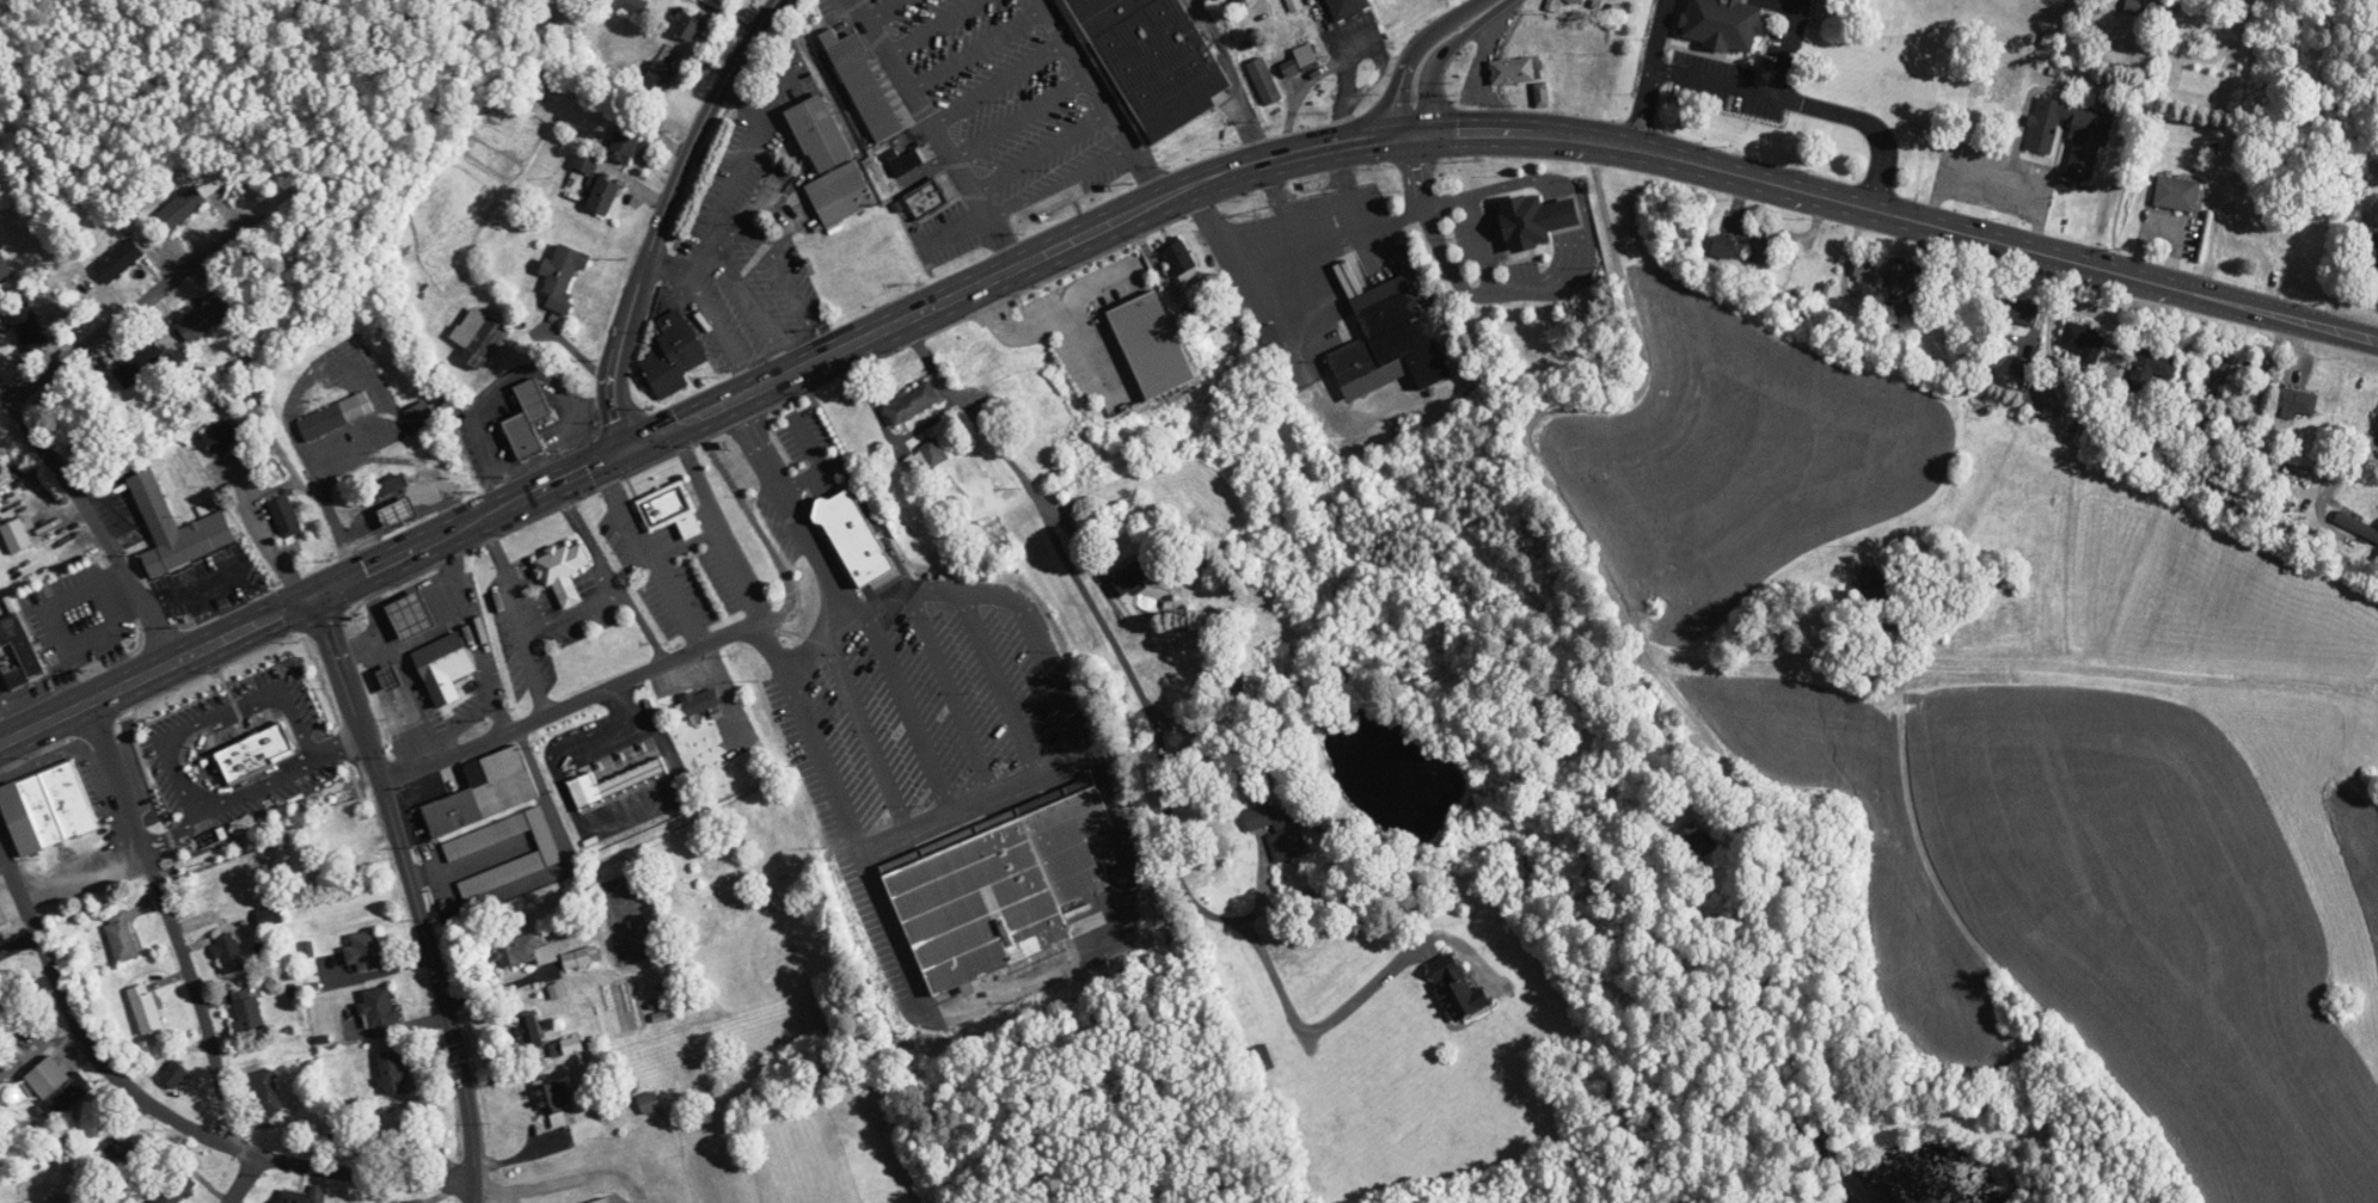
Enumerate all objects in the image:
building: (635, 7)
building: (1346, 8)
building: (1723, 24)
building: (687, 25)
road: (560, 27)
road: (1429, 49)
road: (976, 50)
building: (1306, 57)
building: (1148, 62)
building: (1515, 69)
road: (1085, 74)
building: (658, 76)
road: (1234, 79)
road: (1704, 79)
building: (864, 85)
road: (1645, 98)
road: (1824, 105)
road: (921, 115)
traffic signals: (1412, 130)
building: (820, 133)
building: (2071, 133)
building: (625, 143)
road: (746, 152)
road: (1300, 152)
building: (907, 162)
road: (1417, 167)
road: (1146, 172)
road: (1538, 179)
road: (1771, 182)
road: (1342, 186)
road: (1062, 189)
road: (1176, 190)
building: (2177, 192)
building: (840, 194)
building: (603, 195)
building: (923, 198)
road: (1283, 202)
building: (182, 207)
road: (666, 214)
road: (1563, 215)
building: (1538, 219)
road: (1089, 232)
road: (724, 234)
building: (2373, 244)
building: (1724, 245)
building: (1764, 245)
road: (1005, 248)
road: (1285, 248)
road: (1441, 250)
road: (700, 254)
building: (1181, 259)
road: (1568, 259)
building: (118, 260)
road: (669, 266)
building: (1867, 266)
building: (4, 270)
building: (563, 275)
building: (1898, 277)
road: (791, 282)
building: (1954, 287)
road: (152, 295)
road: (2251, 305)
road: (752, 306)
building: (2018, 311)
building: (203, 318)
building: (27, 327)
road: (721, 331)
building: (477, 336)
building: (1390, 338)
building: (2084, 342)
building: (1275, 344)
building: (672, 354)
building: (140, 364)
building: (2020, 366)
building: (2151, 368)
building: (986, 374)
building: (1048, 392)
building: (2037, 398)
building: (2297, 400)
building: (912, 403)
building: (335, 416)
building: (419, 416)
building: (527, 419)
building: (847, 422)
building: (2201, 429)
building: (220, 436)
traffic signals: (630, 447)
road: (1600, 459)
road: (2347, 468)
road: (698, 477)
road: (320, 492)
building: (396, 499)
road: (507, 503)
building: (672, 510)
road: (624, 511)
road: (252, 516)
building: (286, 516)
road: (93, 518)
road: (55, 521)
building: (176, 529)
building: (16, 535)
road: (725, 538)
building: (854, 538)
road: (821, 558)
building: (564, 571)
building: (2002, 575)
building: (1130, 576)
road: (85, 587)
building: (1875, 589)
traffic signals: (315, 590)
road: (676, 602)
road: (569, 614)
building: (412, 615)
road: (644, 624)
road: (381, 625)
road: (473, 630)
building: (20, 649)
building: (445, 667)
road: (1127, 671)
road: (534, 673)
building: (398, 698)
road: (570, 700)
building: (701, 701)
building: (1574, 713)
road: (7, 716)
road: (451, 728)
road: (170, 745)
road: (339, 748)
road: (1048, 768)
building: (614, 782)
building: (326, 787)
building: (485, 792)
building: (47, 809)
road: (184, 828)
building: (1280, 828)
building: (338, 830)
road: (171, 837)
building: (1694, 841)
building: (195, 846)
building: (543, 855)
building: (998, 889)
road: (411, 892)
building: (214, 896)
building: (269, 915)
building: (2, 916)
road: (172, 920)
building: (121, 935)
building: (521, 949)
building: (366, 951)
building: (228, 952)
building: (580, 957)
road: (1384, 974)
building: (1459, 993)
building: (146, 1008)
building: (380, 1011)
building: (247, 1014)
building: (531, 1030)
building: (572, 1045)
building: (1258, 1060)
building: (392, 1072)
building: (173, 1074)
building: (49, 1087)
building: (265, 1092)
building: (649, 1103)
road: (163, 1111)
building: (124, 1153)
road: (577, 1176)
road: (243, 1178)
building: (177, 1189)
road: (488, 1193)
building: (305, 1196)
road: (505, 1198)

